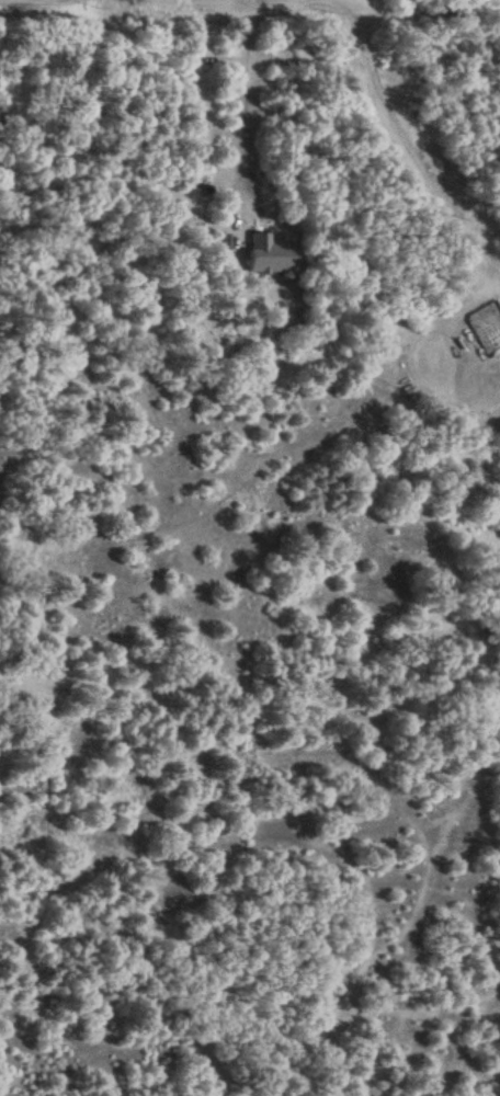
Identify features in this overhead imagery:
road: (364, 1)
road: (248, 94)
road: (404, 146)
building: (268, 256)

